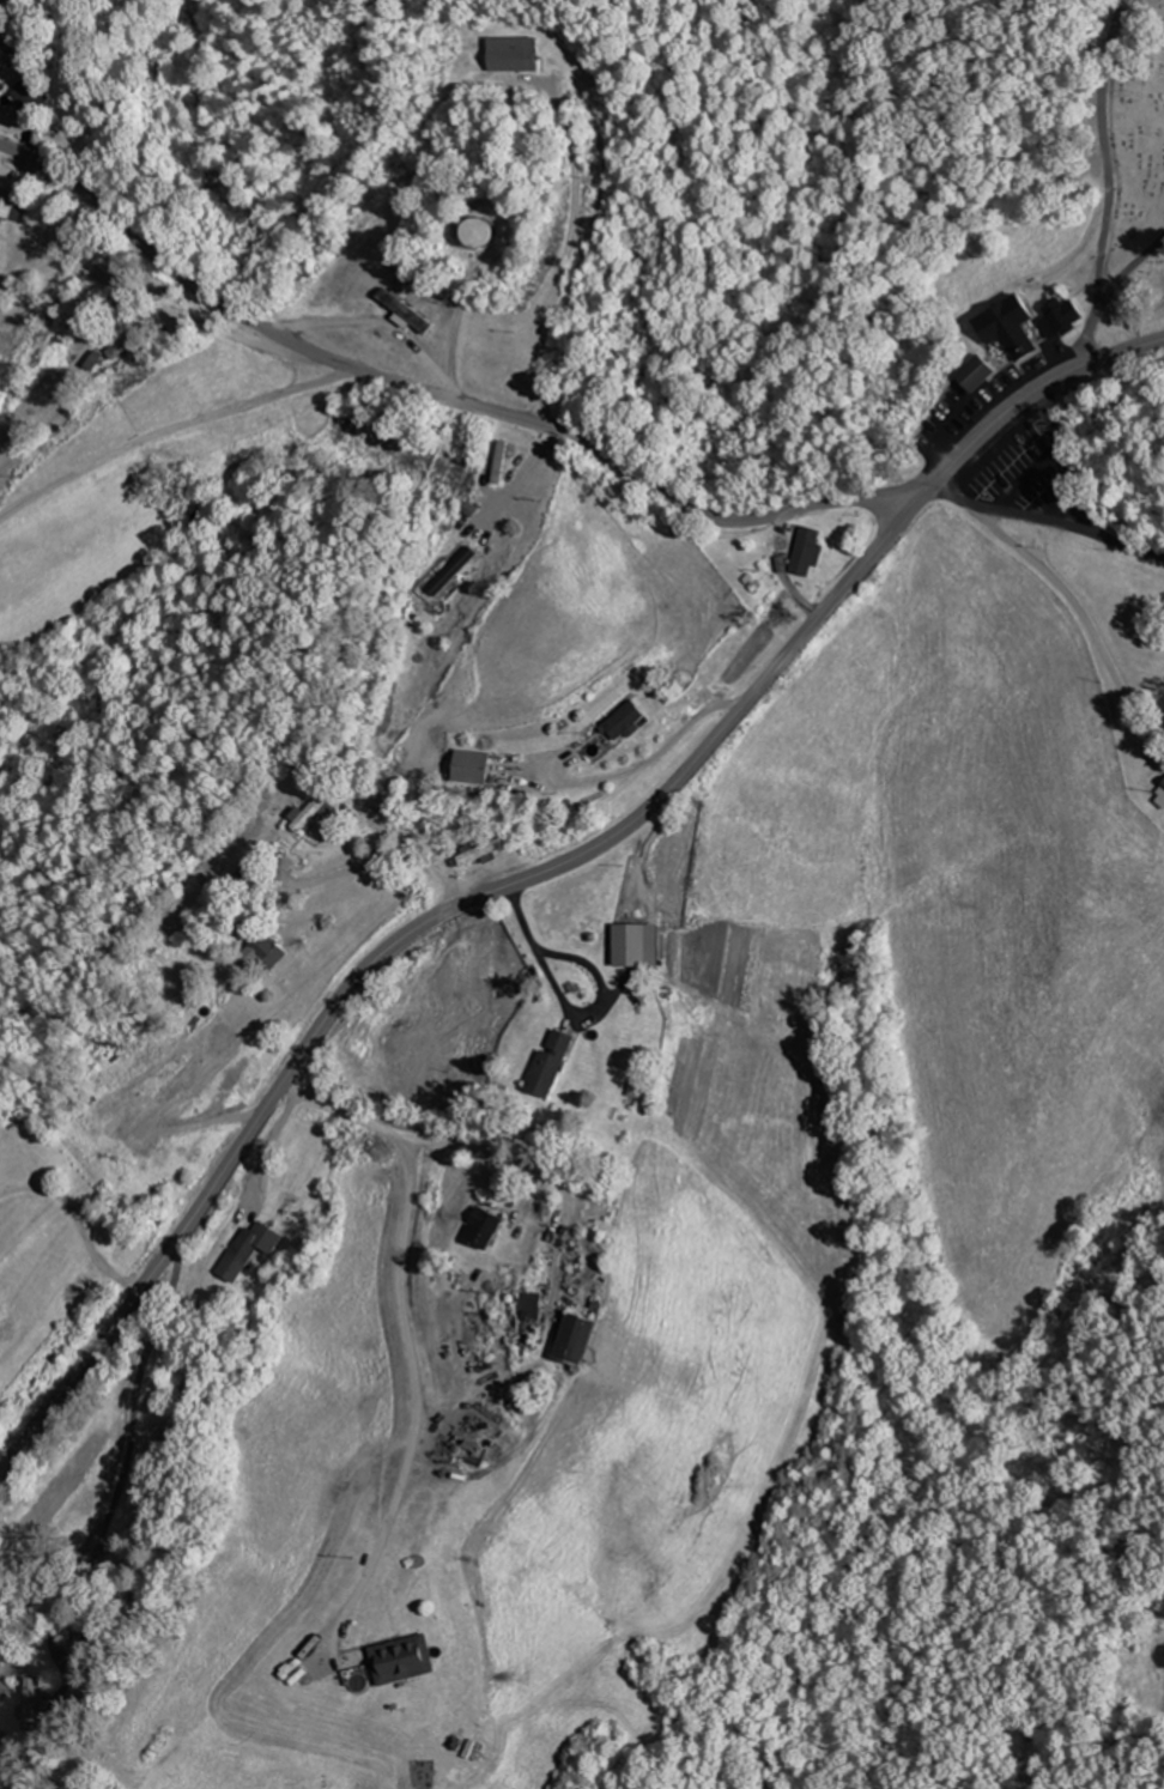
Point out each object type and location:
building: (8, 46)
building: (520, 54)
building: (35, 98)
road: (1109, 151)
building: (13, 207)
building: (495, 235)
road: (568, 249)
road: (1130, 269)
building: (412, 311)
building: (1071, 315)
building: (1017, 328)
road: (1090, 336)
building: (134, 342)
building: (983, 375)
road: (1029, 398)
road: (174, 430)
road: (559, 431)
road: (1068, 462)
building: (811, 553)
building: (457, 571)
building: (629, 718)
building: (477, 765)
building: (1160, 796)
building: (315, 814)
building: (484, 850)
road: (412, 933)
building: (637, 944)
building: (272, 951)
building: (554, 1062)
building: (641, 1090)
building: (490, 1225)
building: (253, 1249)
building: (534, 1311)
building: (581, 1338)
road: (166, 1425)
building: (407, 1658)
building: (36, 1702)

